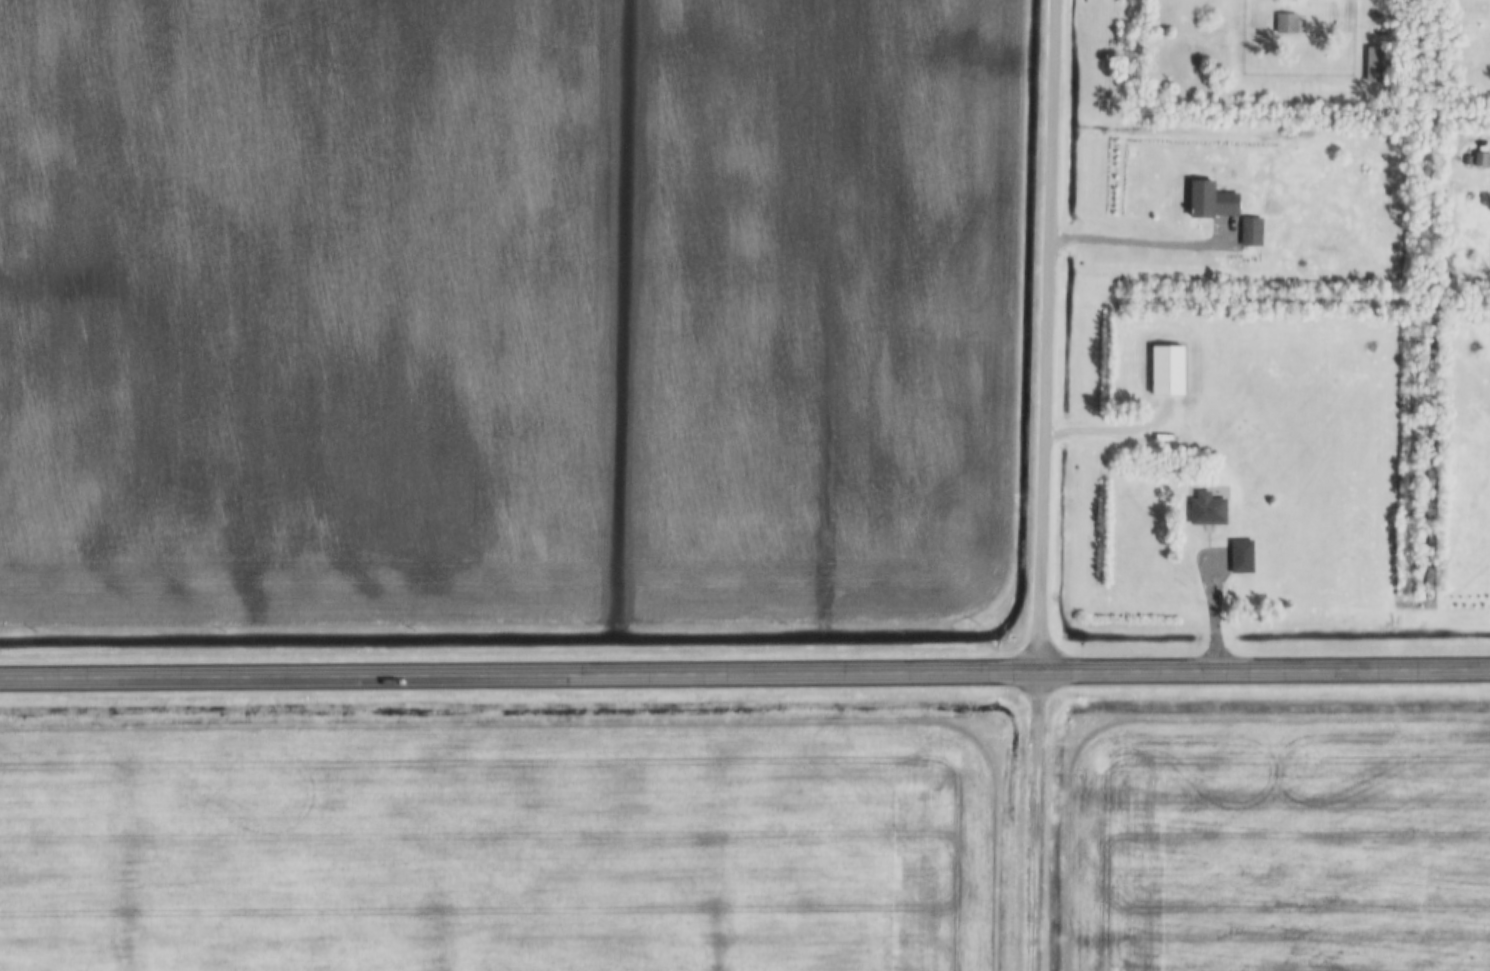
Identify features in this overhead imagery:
building: (1284, 22)
building: (1375, 63)
building: (1481, 158)
building: (1209, 198)
building: (1249, 229)
road: (1142, 242)
crop: (504, 310)
road: (1044, 335)
building: (1166, 368)
road: (1111, 430)
building: (1206, 508)
building: (1240, 555)
road: (1214, 611)
road: (745, 673)
road: (1035, 821)
crop: (1274, 844)
crop: (496, 847)

